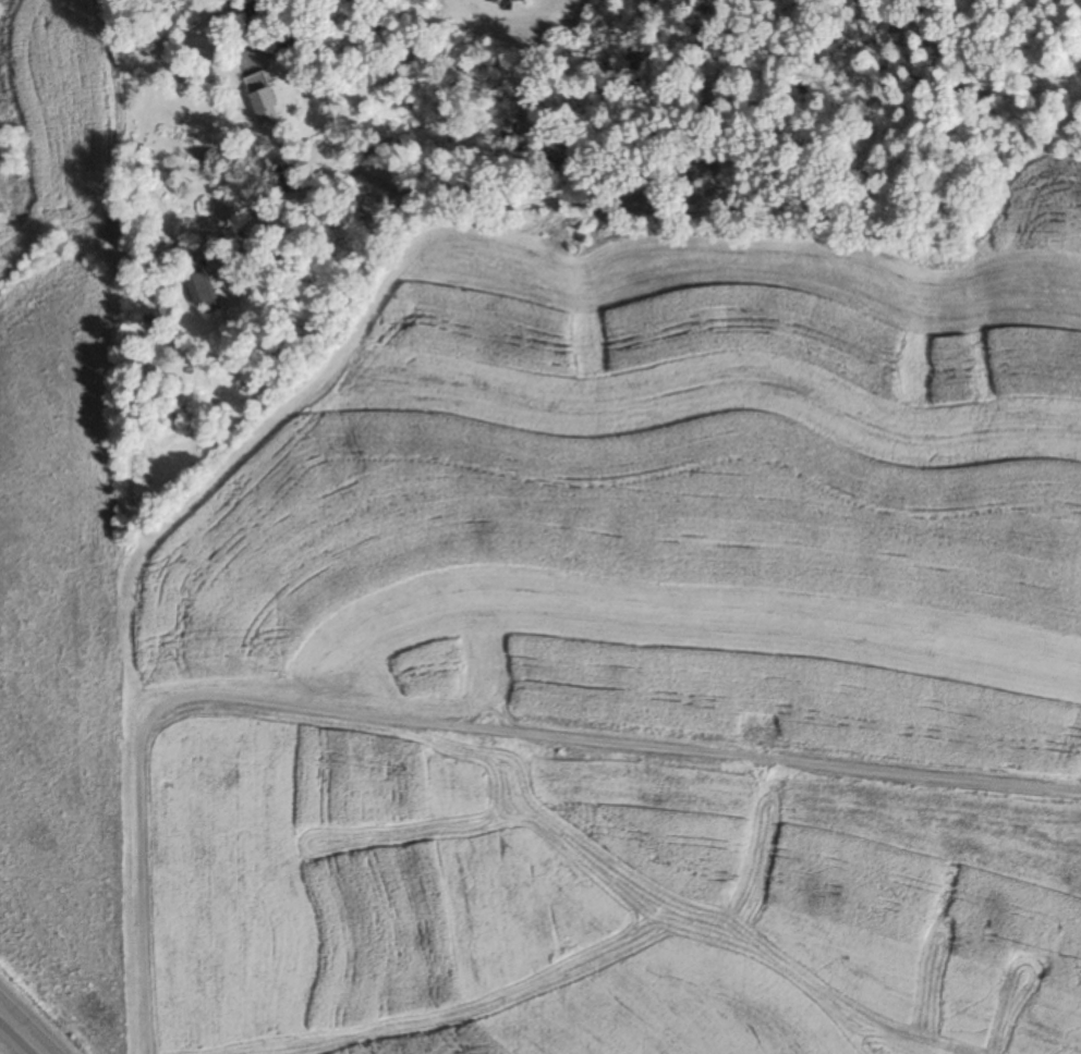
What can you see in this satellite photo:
building: (267, 4)
building: (284, 47)
building: (262, 100)
building: (287, 179)
building: (204, 291)
road: (441, 724)
road: (23, 1031)

